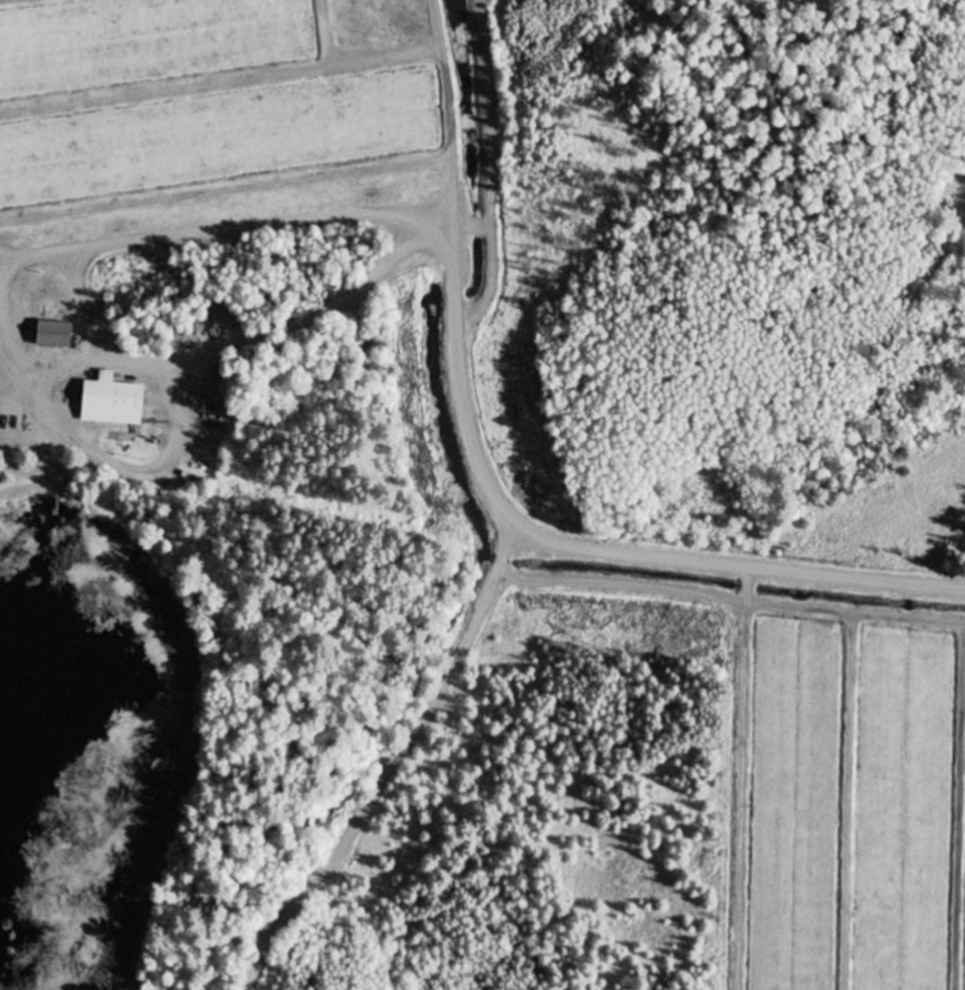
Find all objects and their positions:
crop: (203, 92)
building: (54, 335)
building: (111, 401)
road: (491, 490)
crop: (854, 807)

